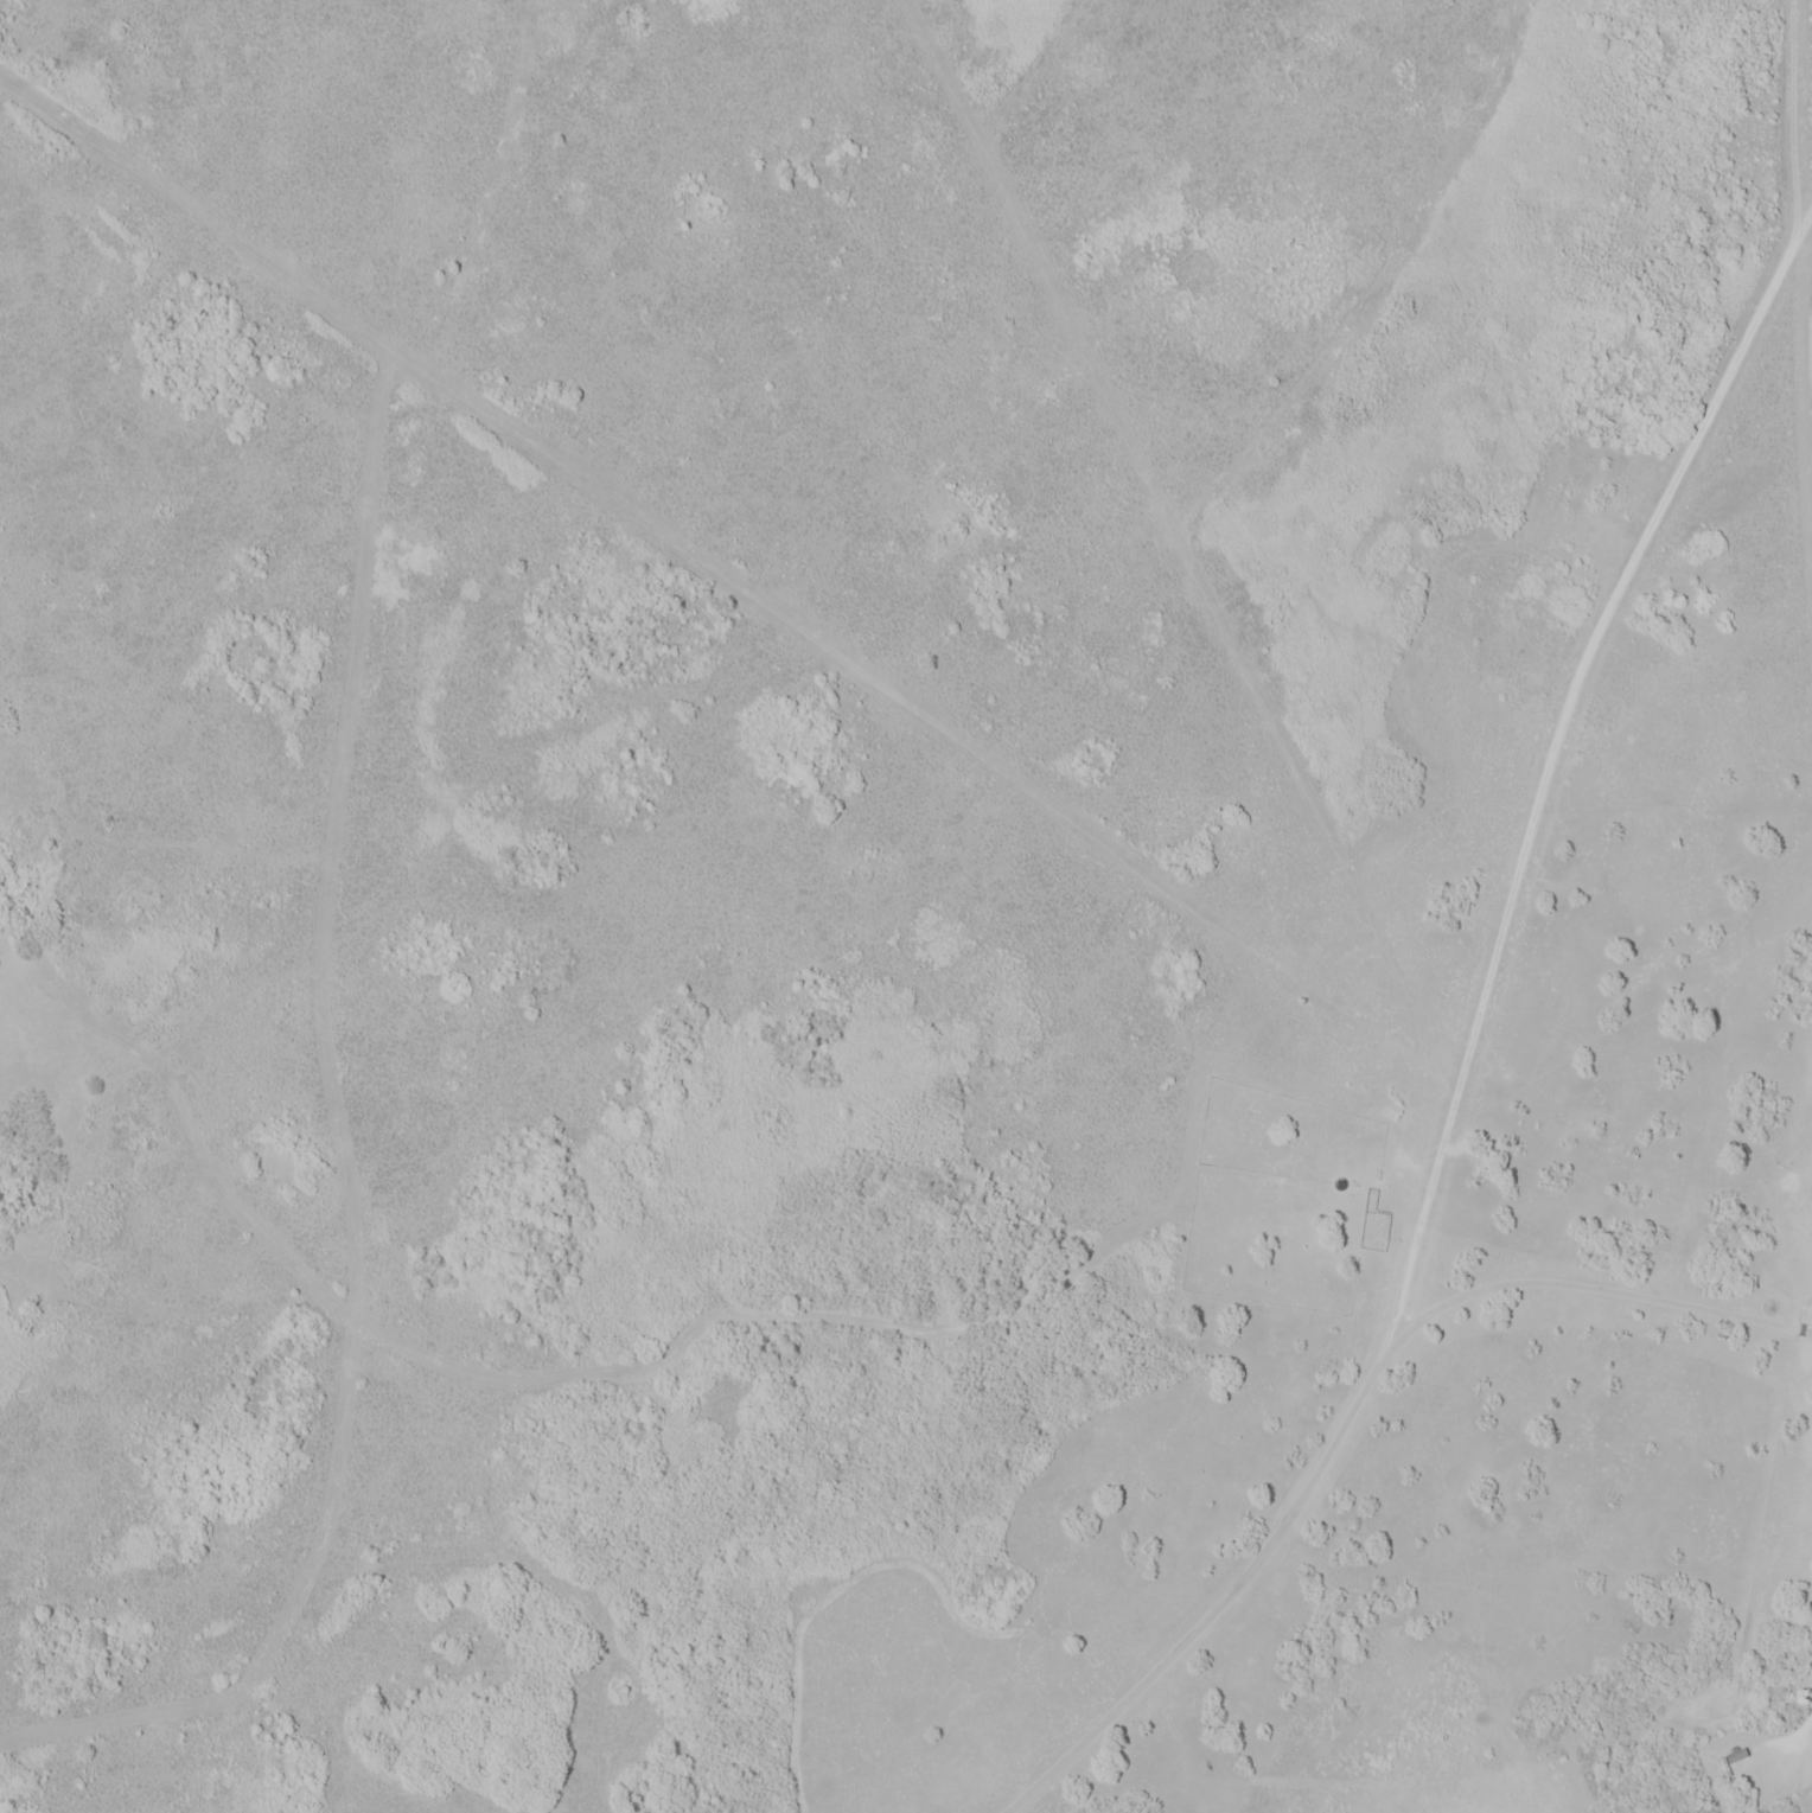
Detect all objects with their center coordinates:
road: (1497, 951)
building: (1733, 1760)

